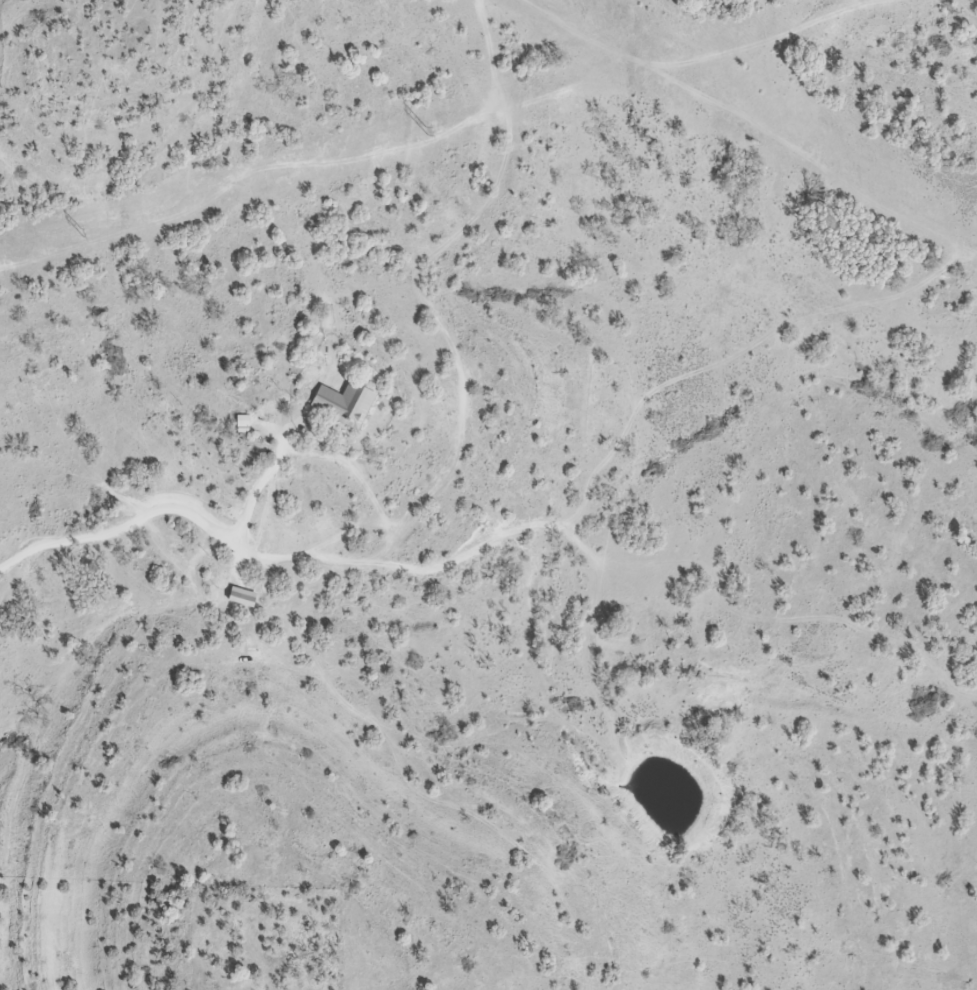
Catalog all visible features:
power tower: (422, 130)
power tower: (82, 230)
building: (344, 403)
road: (127, 528)

